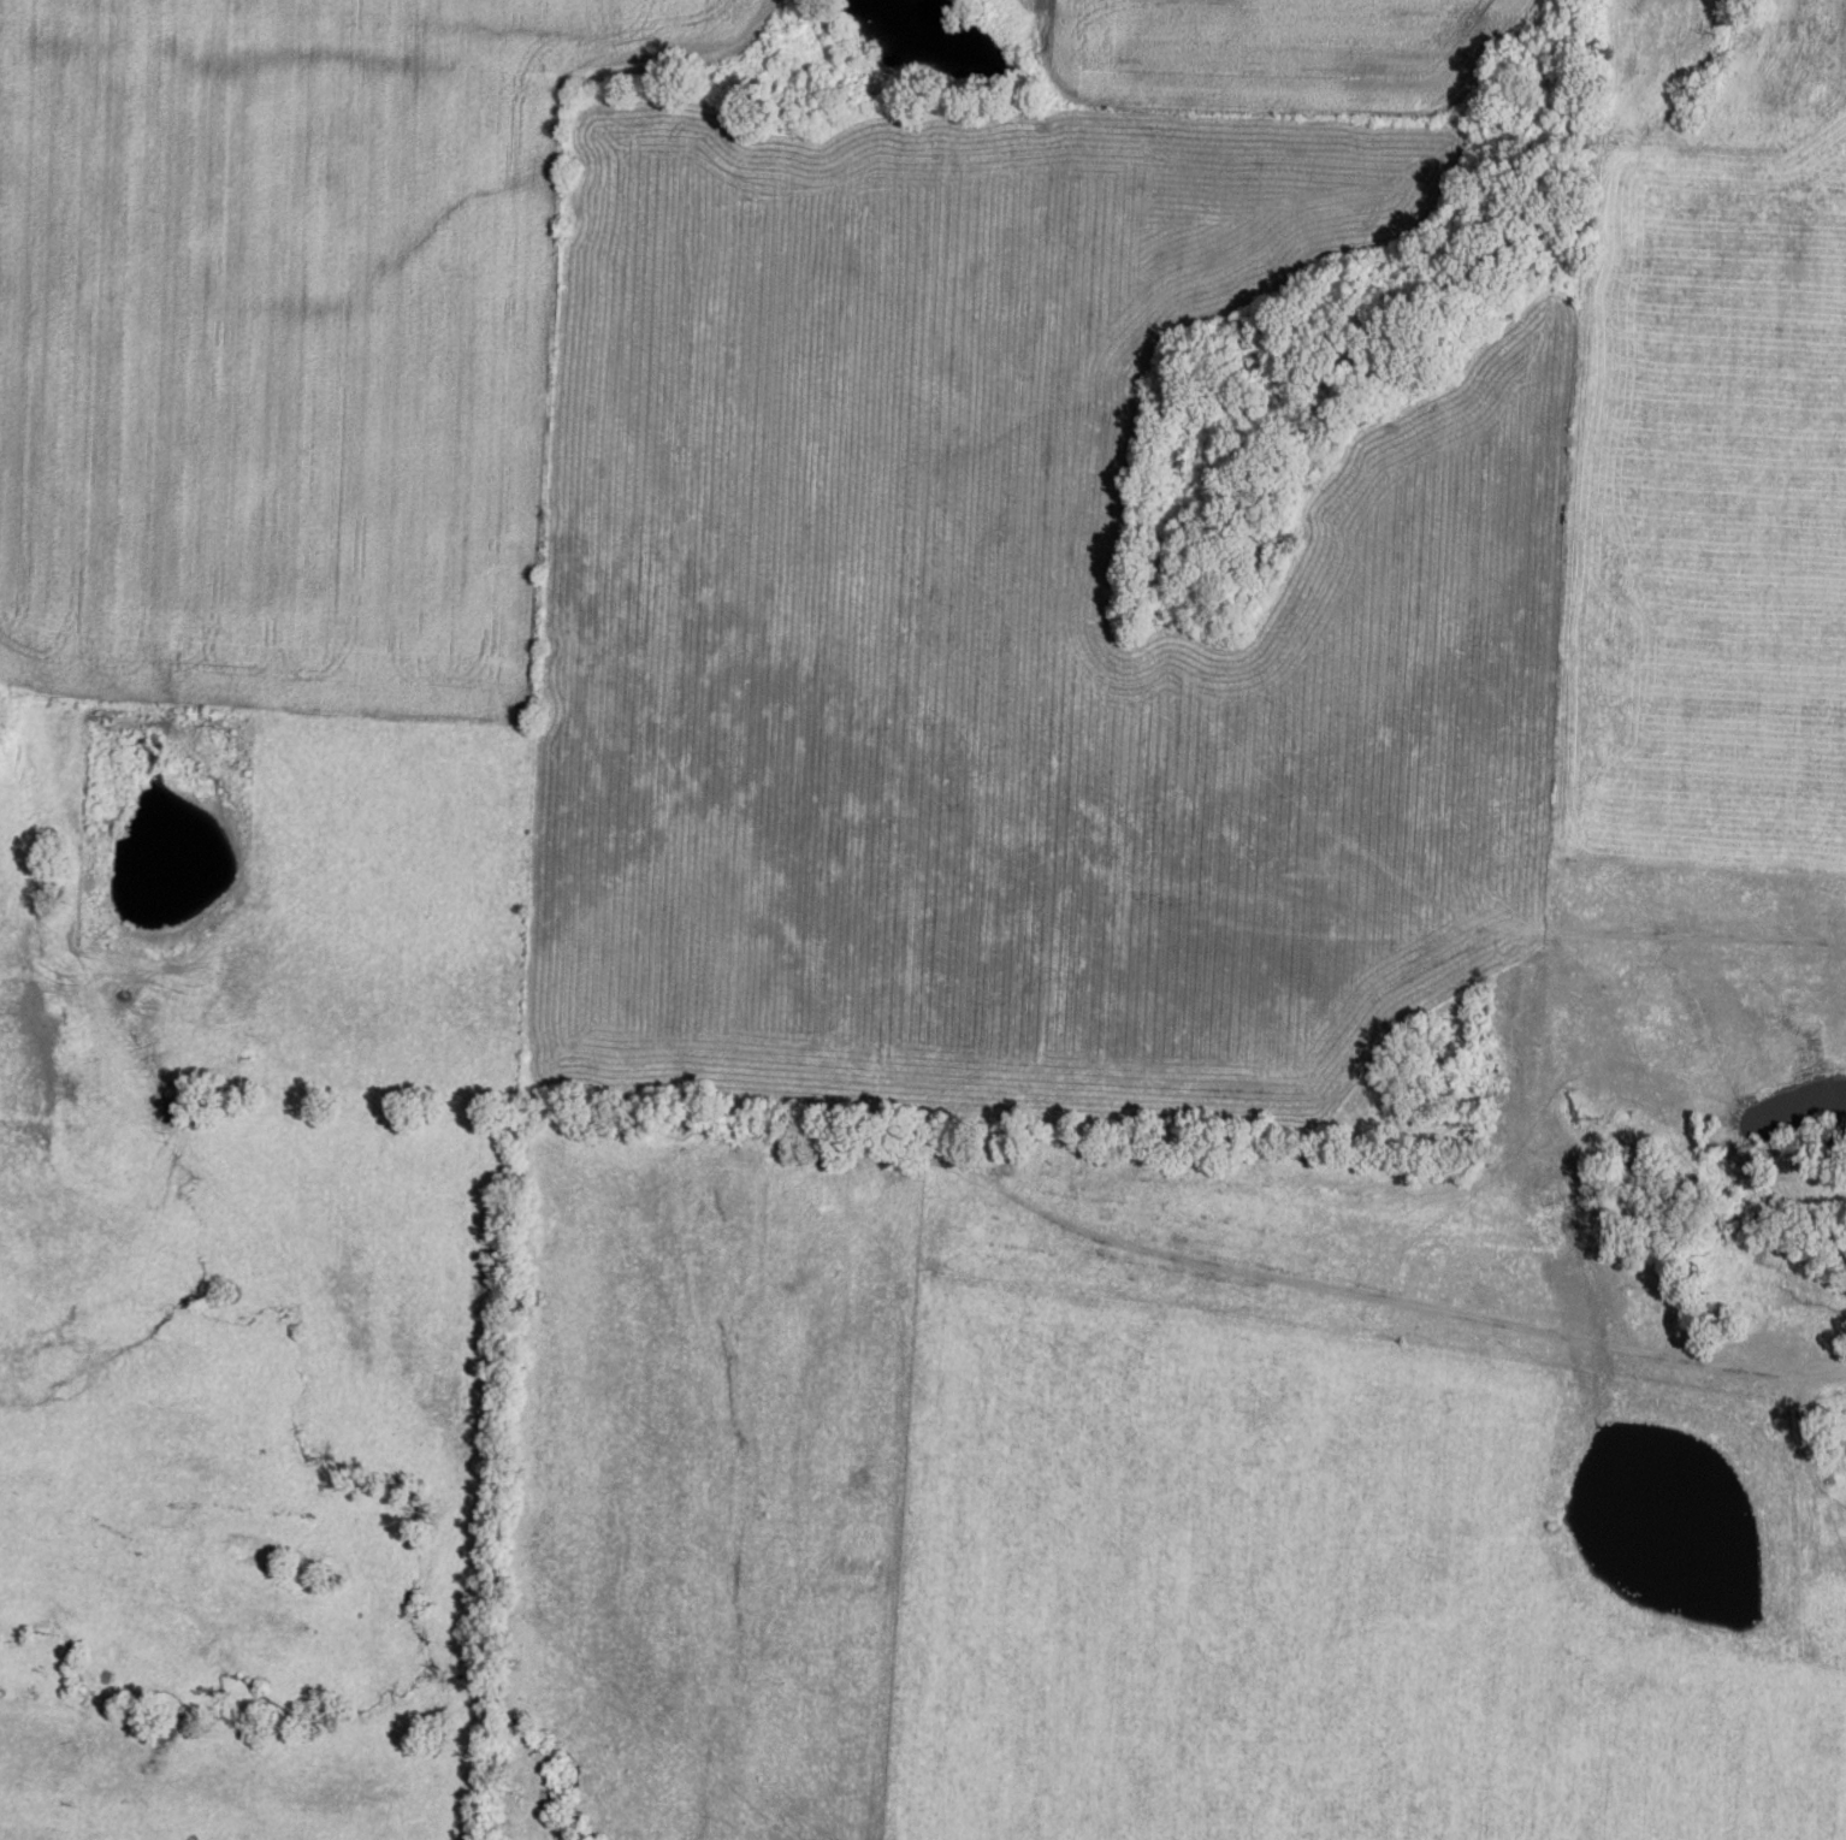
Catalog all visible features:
road: (1693, 937)
road: (1039, 1201)

